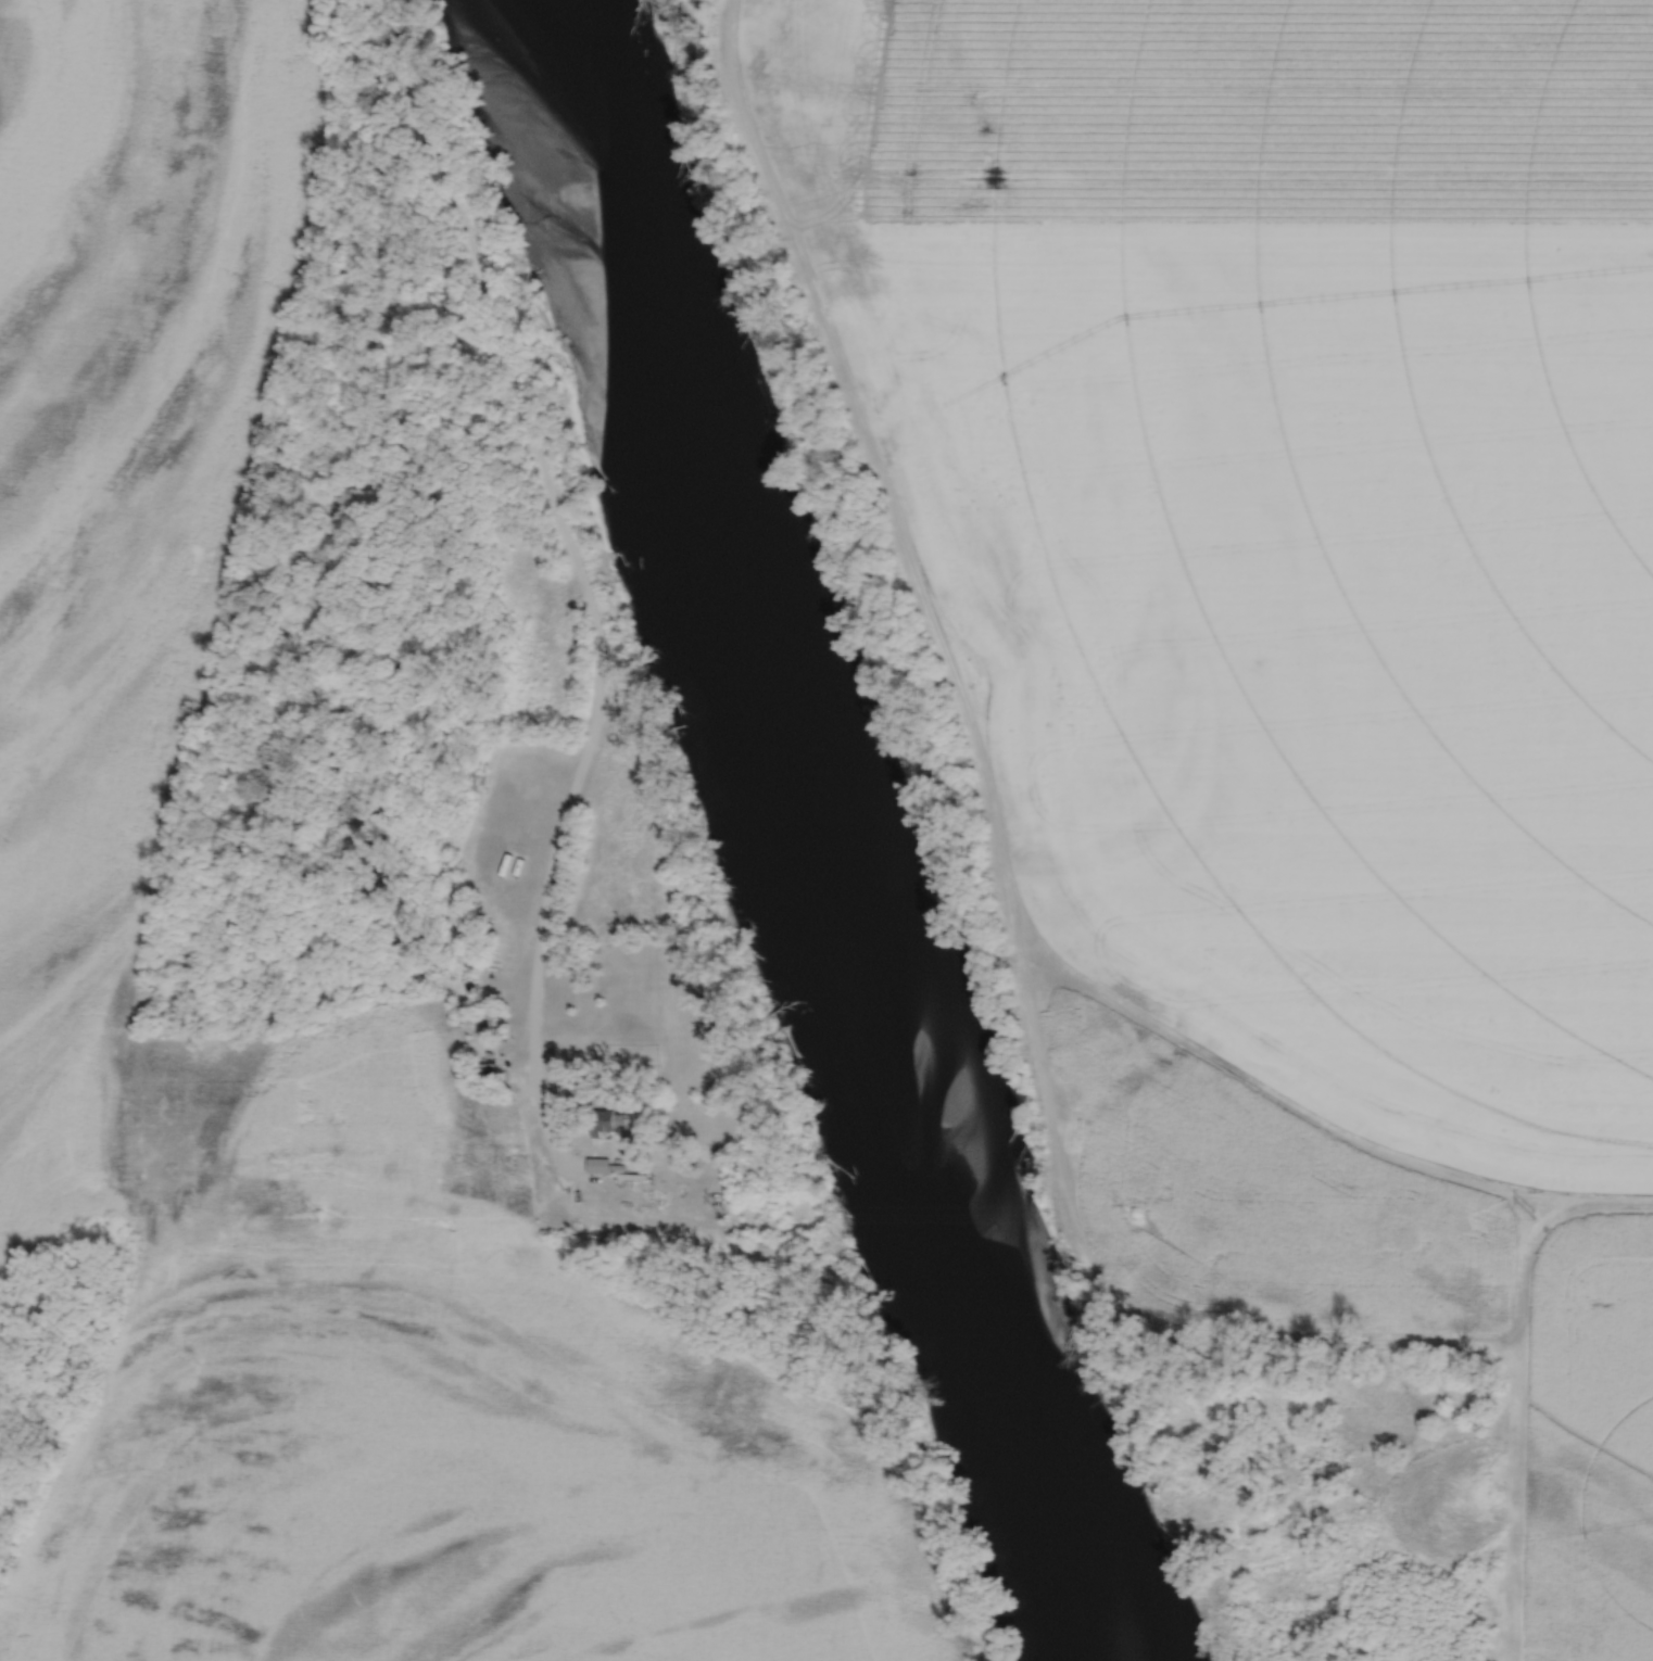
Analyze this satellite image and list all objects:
road: (571, 548)
river: (790, 837)
building: (491, 1073)
building: (607, 1124)
power tower: (723, 1212)
power tower: (317, 1214)
power tower: (1132, 1216)
power tower: (1536, 1217)

